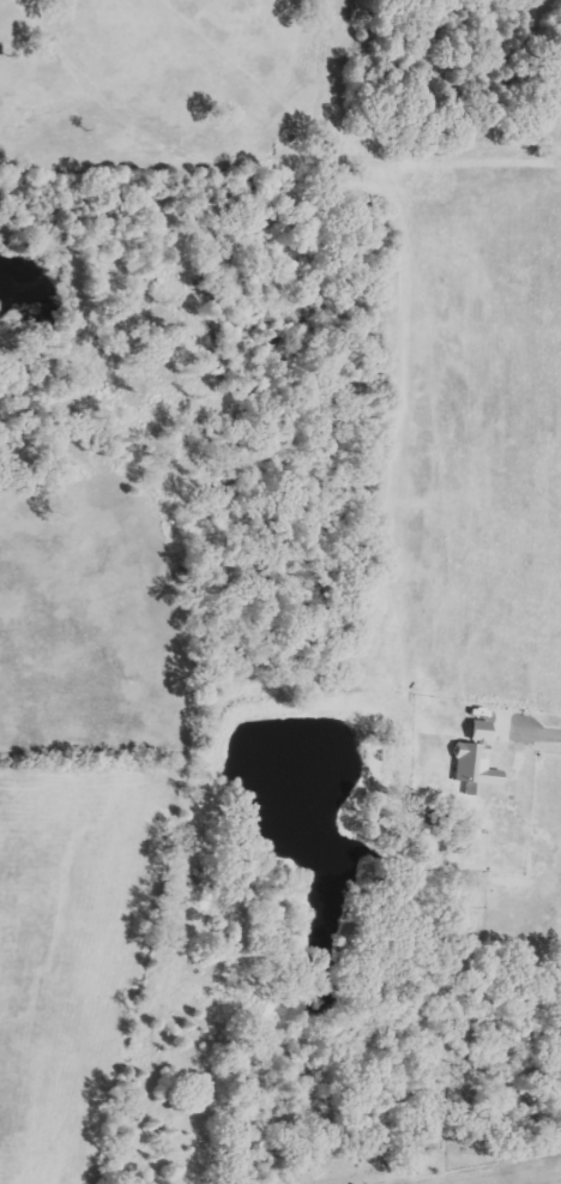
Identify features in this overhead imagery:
building: (476, 759)

